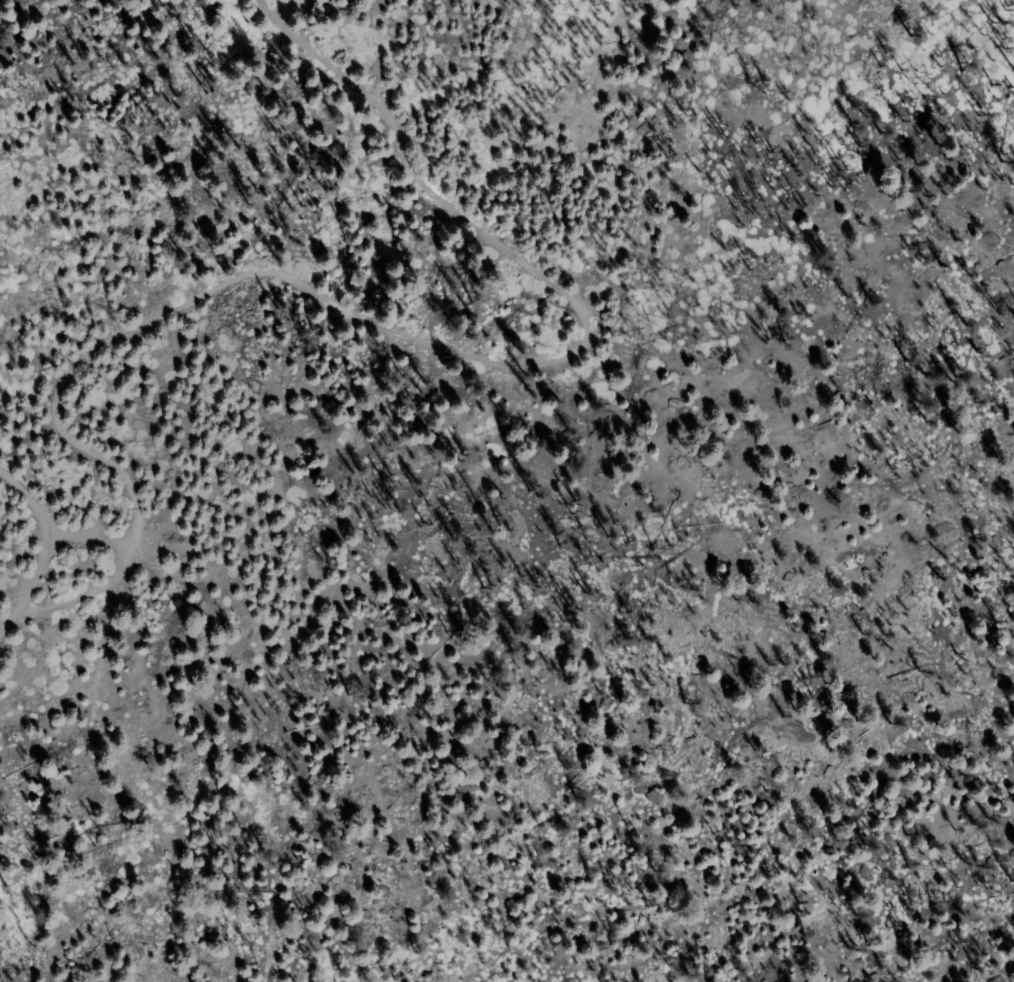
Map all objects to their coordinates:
road: (43, 551)

